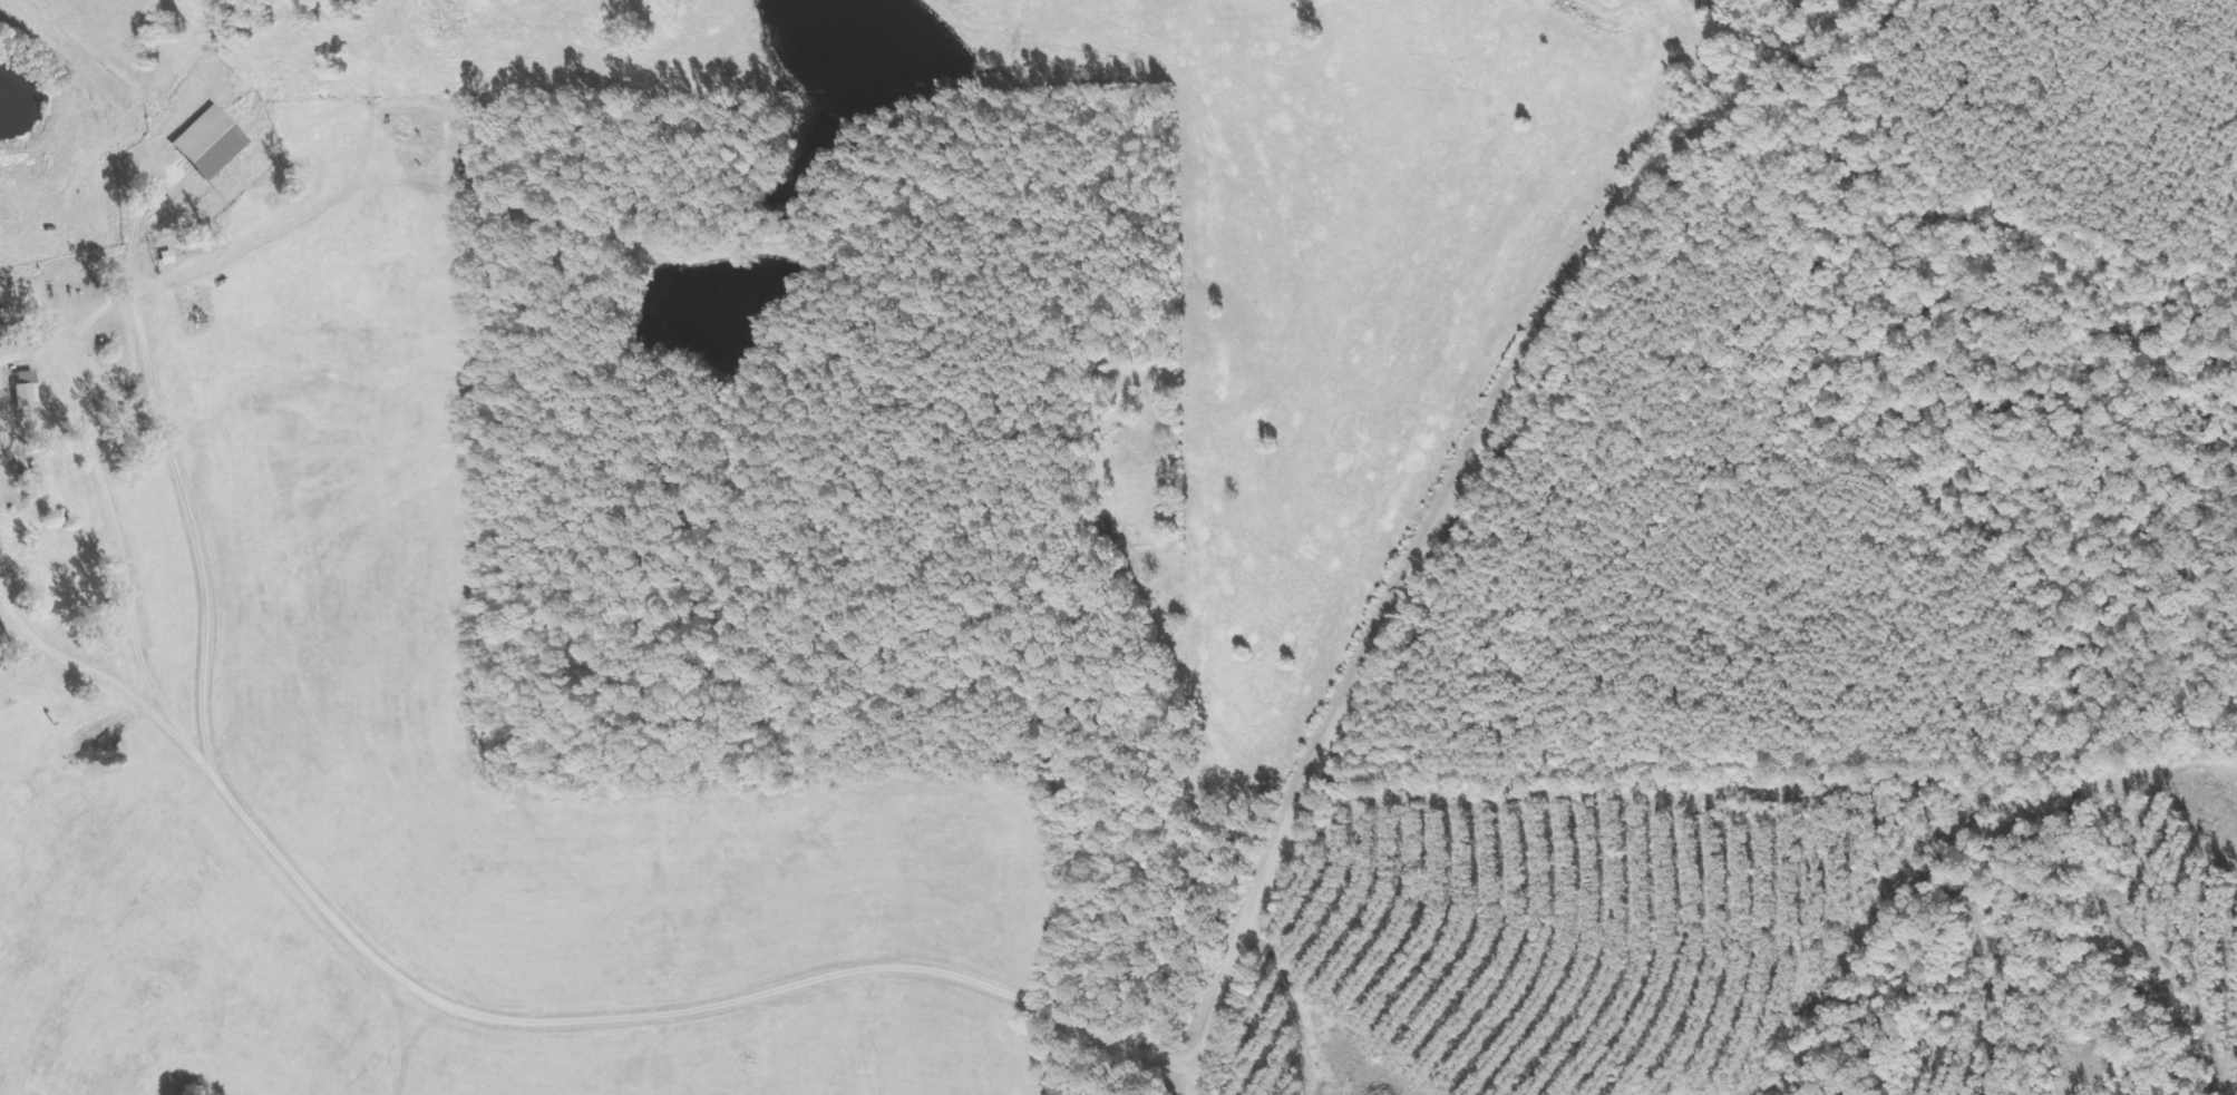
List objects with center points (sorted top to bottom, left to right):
building: (207, 139)
building: (4, 333)
building: (21, 392)
park: (1132, 450)
road: (1456, 496)
building: (1098, 527)
building: (57, 548)
road: (1197, 686)
road: (318, 884)

